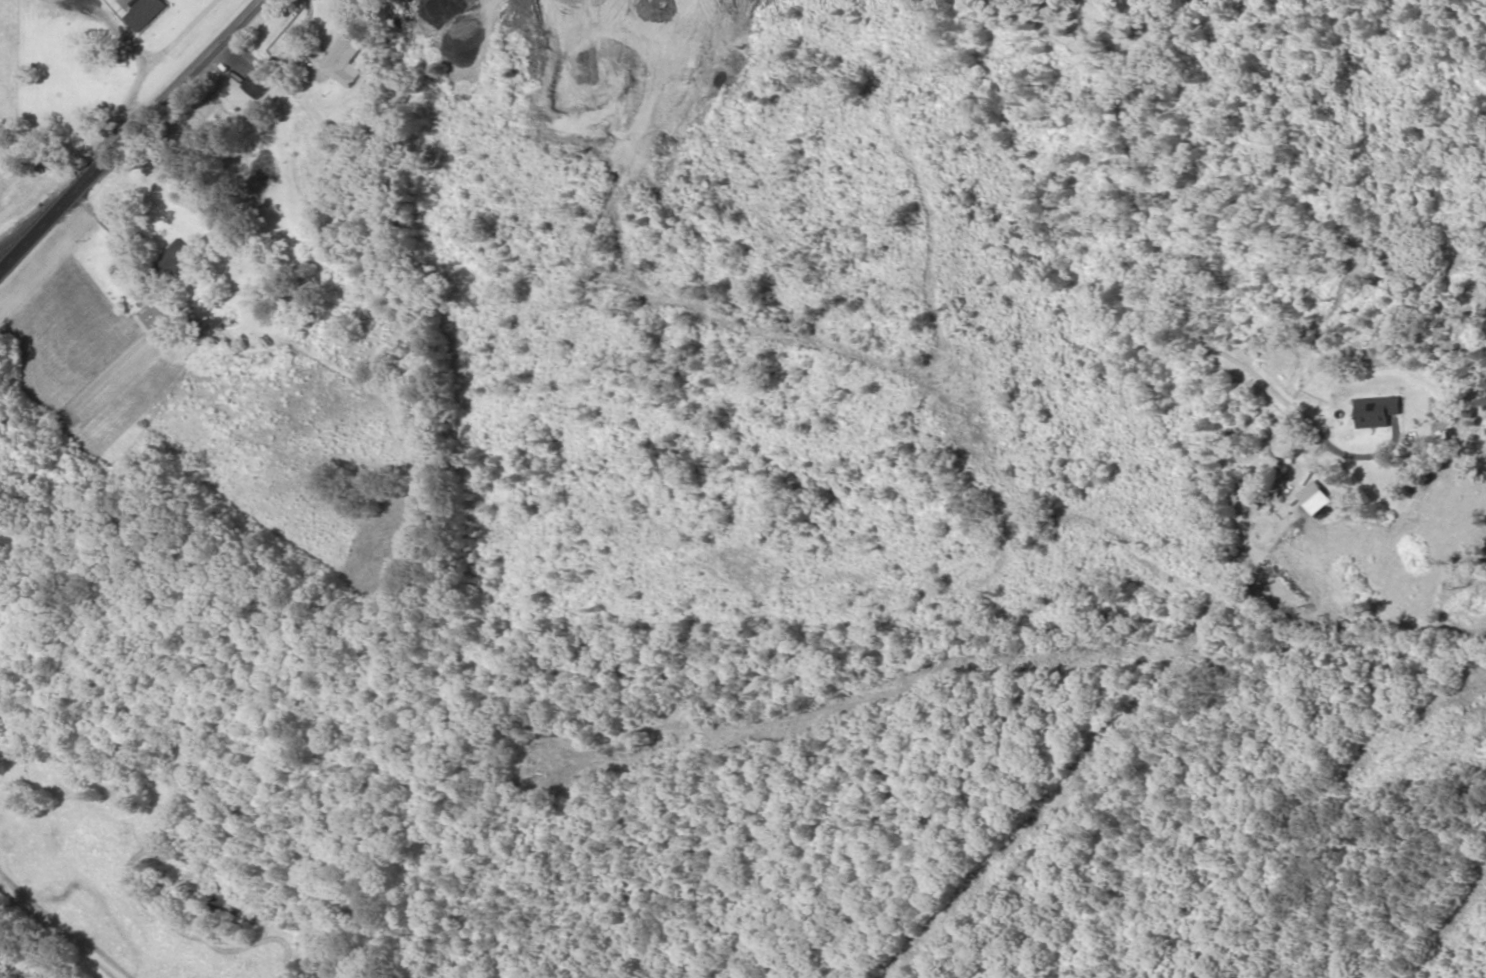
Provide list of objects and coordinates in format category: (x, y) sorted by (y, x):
building: (150, 13)
building: (344, 63)
building: (260, 84)
road: (131, 136)
road: (1154, 236)
building: (175, 263)
building: (168, 312)
building: (1377, 412)
building: (515, 762)
road: (65, 914)

